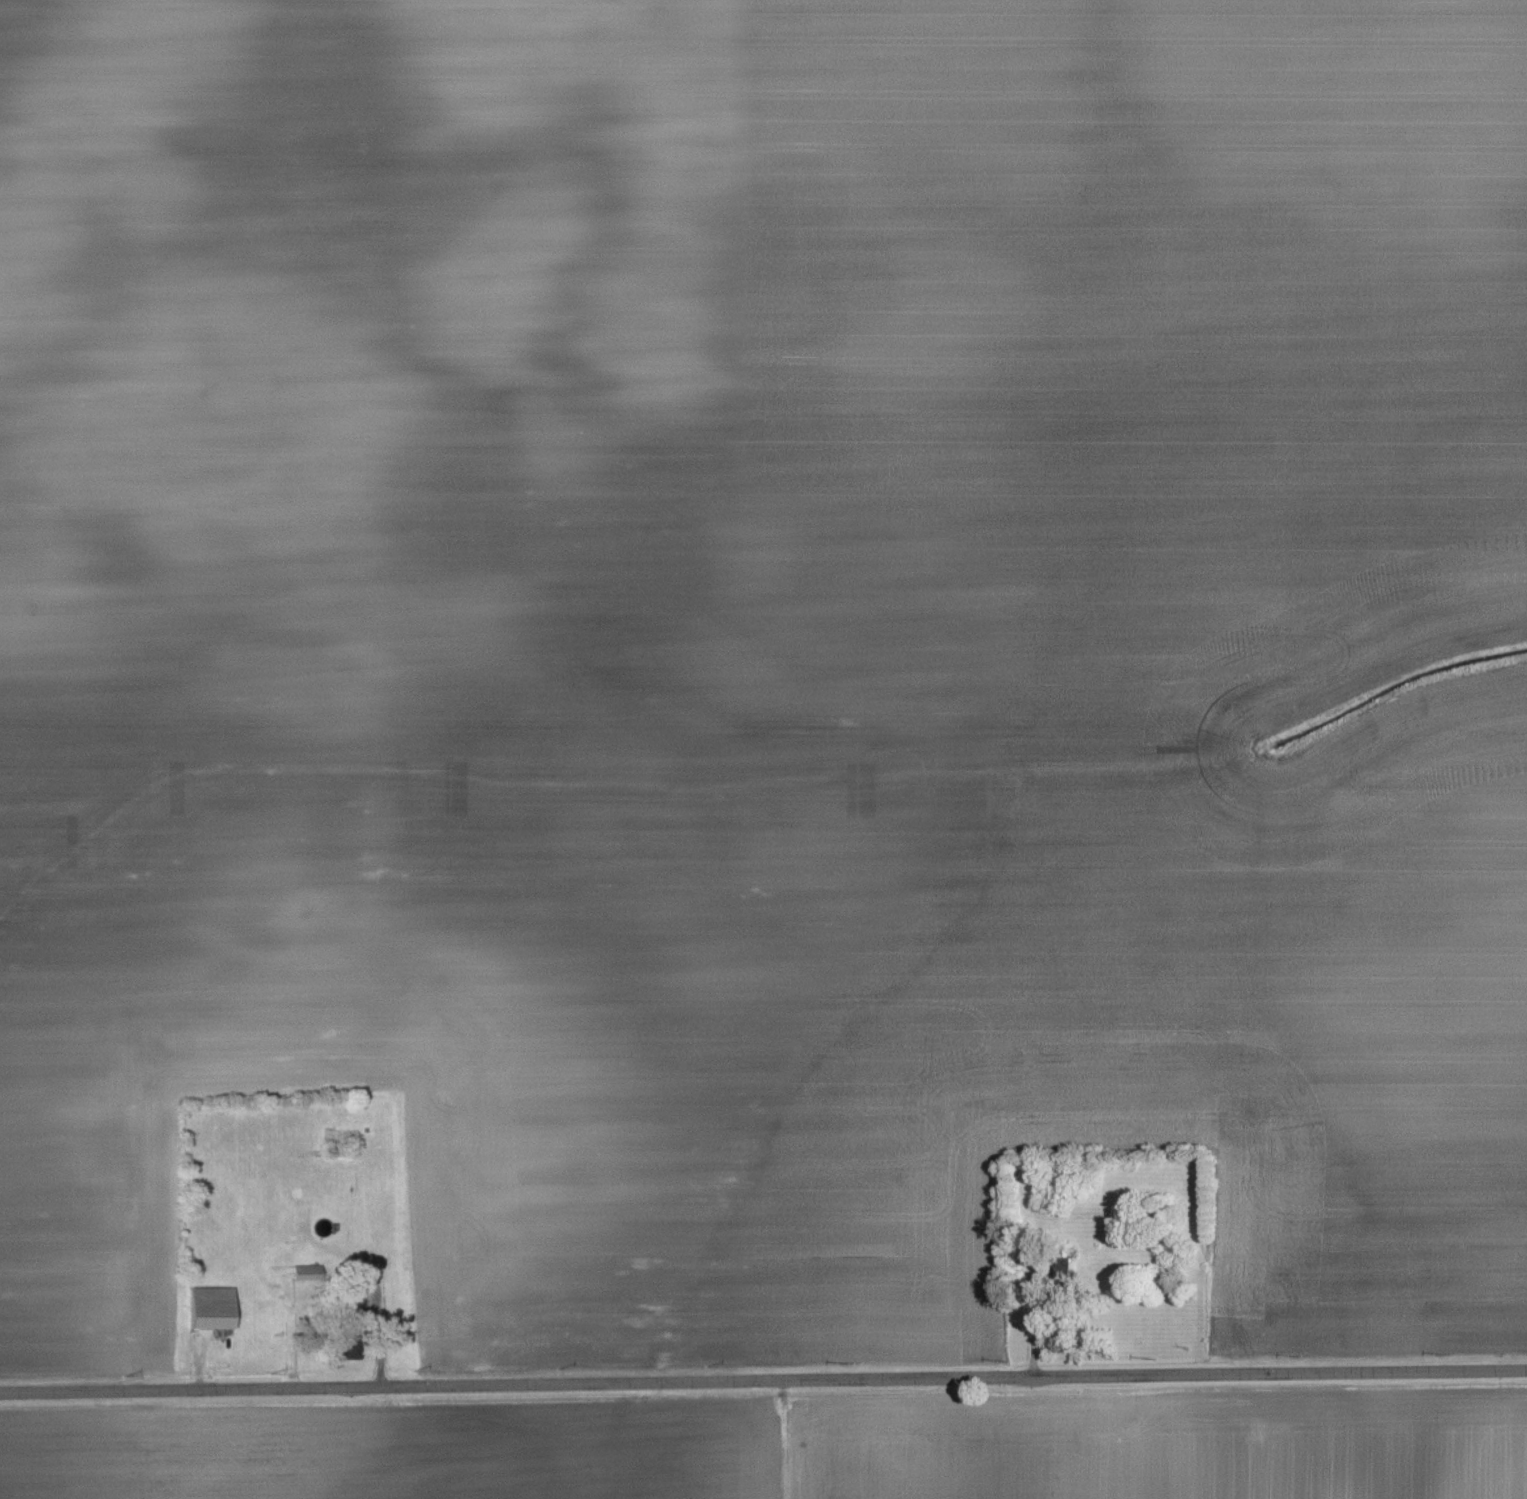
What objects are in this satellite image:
building: (306, 1272)
building: (211, 1308)
road: (1036, 1324)
building: (346, 1348)
road: (763, 1381)

